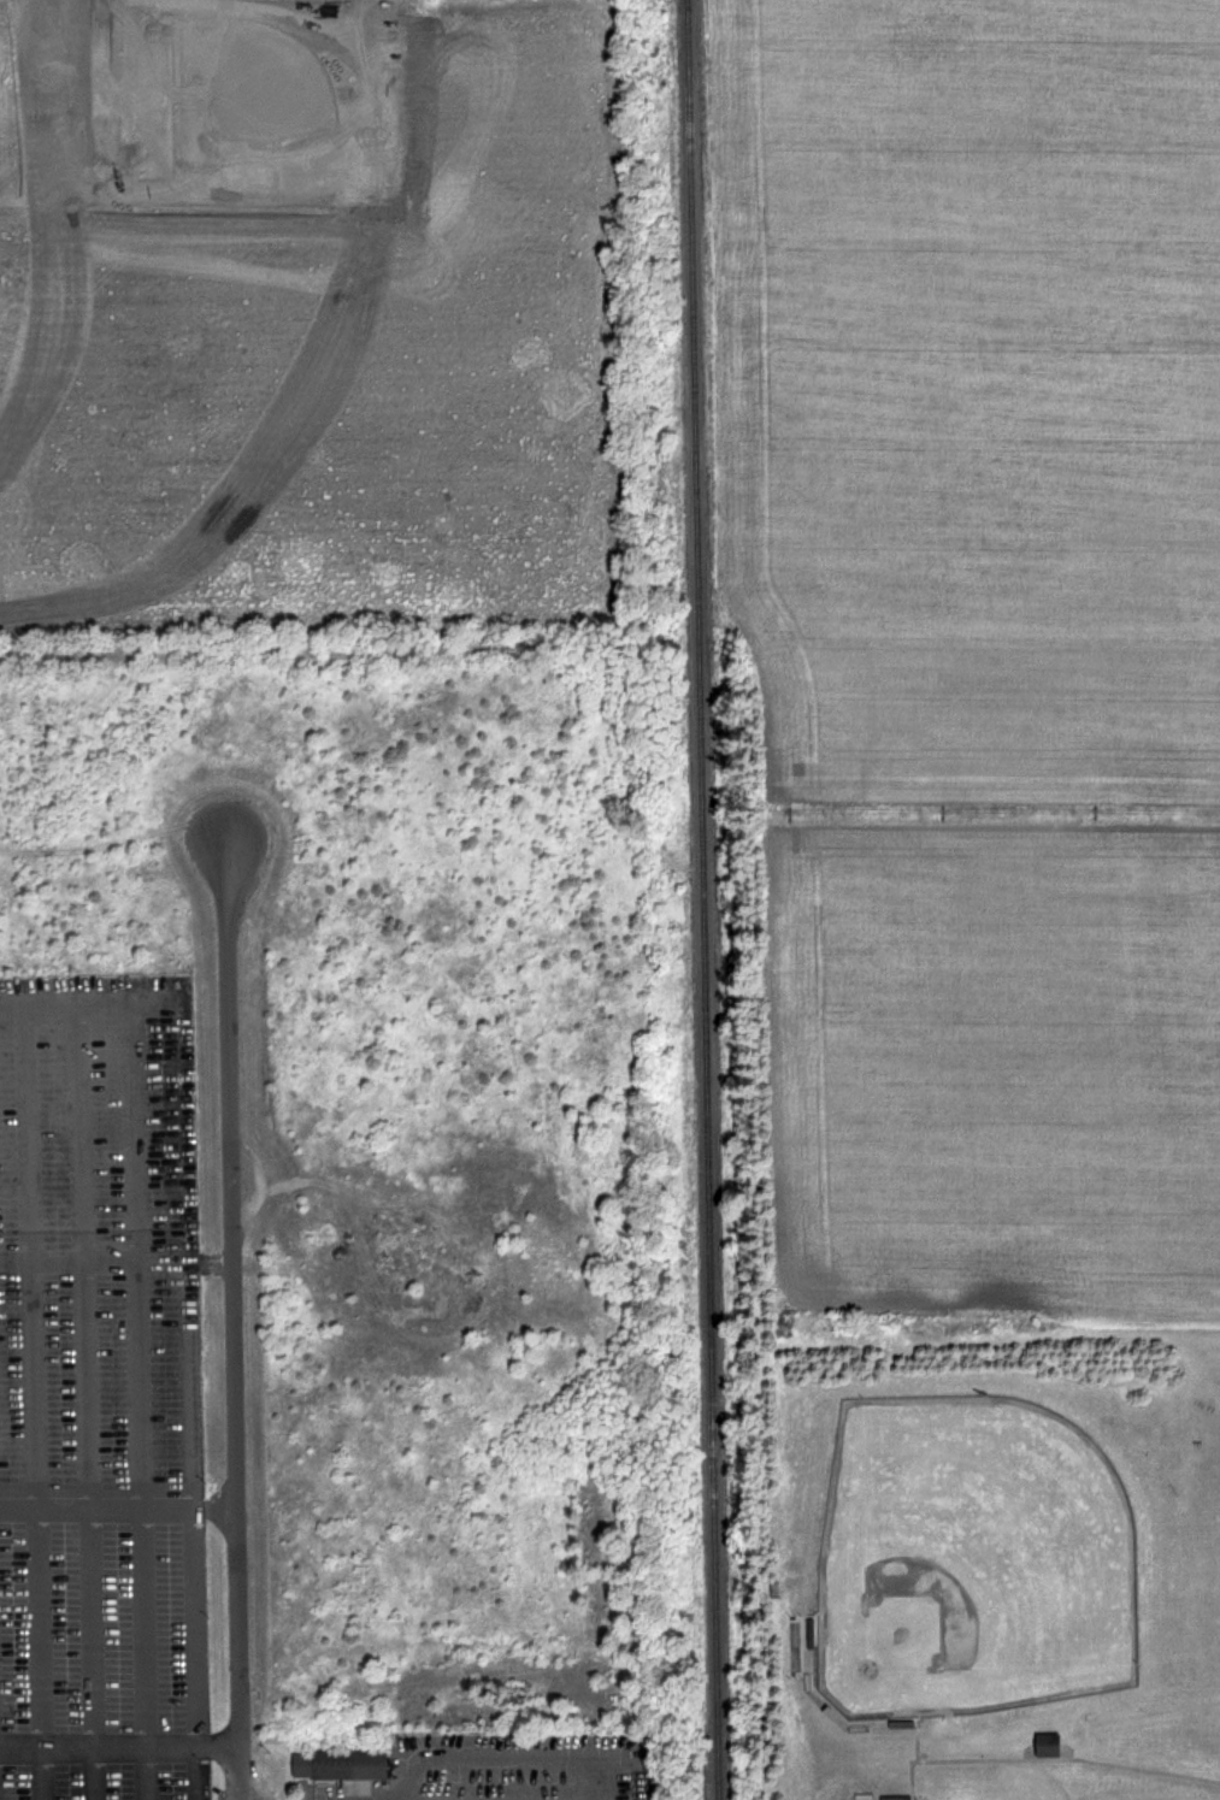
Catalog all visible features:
crop: (973, 659)
railway: (707, 899)
road: (183, 1034)
road: (94, 1259)
road: (237, 1322)
road: (189, 1359)
road: (137, 1368)
road: (31, 1369)
road: (86, 1369)
parking lot: (104, 1391)
road: (95, 1507)
park: (977, 1560)
road: (193, 1599)
road: (123, 1741)
road: (923, 1743)
building: (1054, 1746)
road: (515, 1757)
road: (977, 1763)
building: (347, 1764)
road: (41, 1770)
road: (95, 1770)
road: (146, 1771)
road: (198, 1771)
road: (918, 1782)

